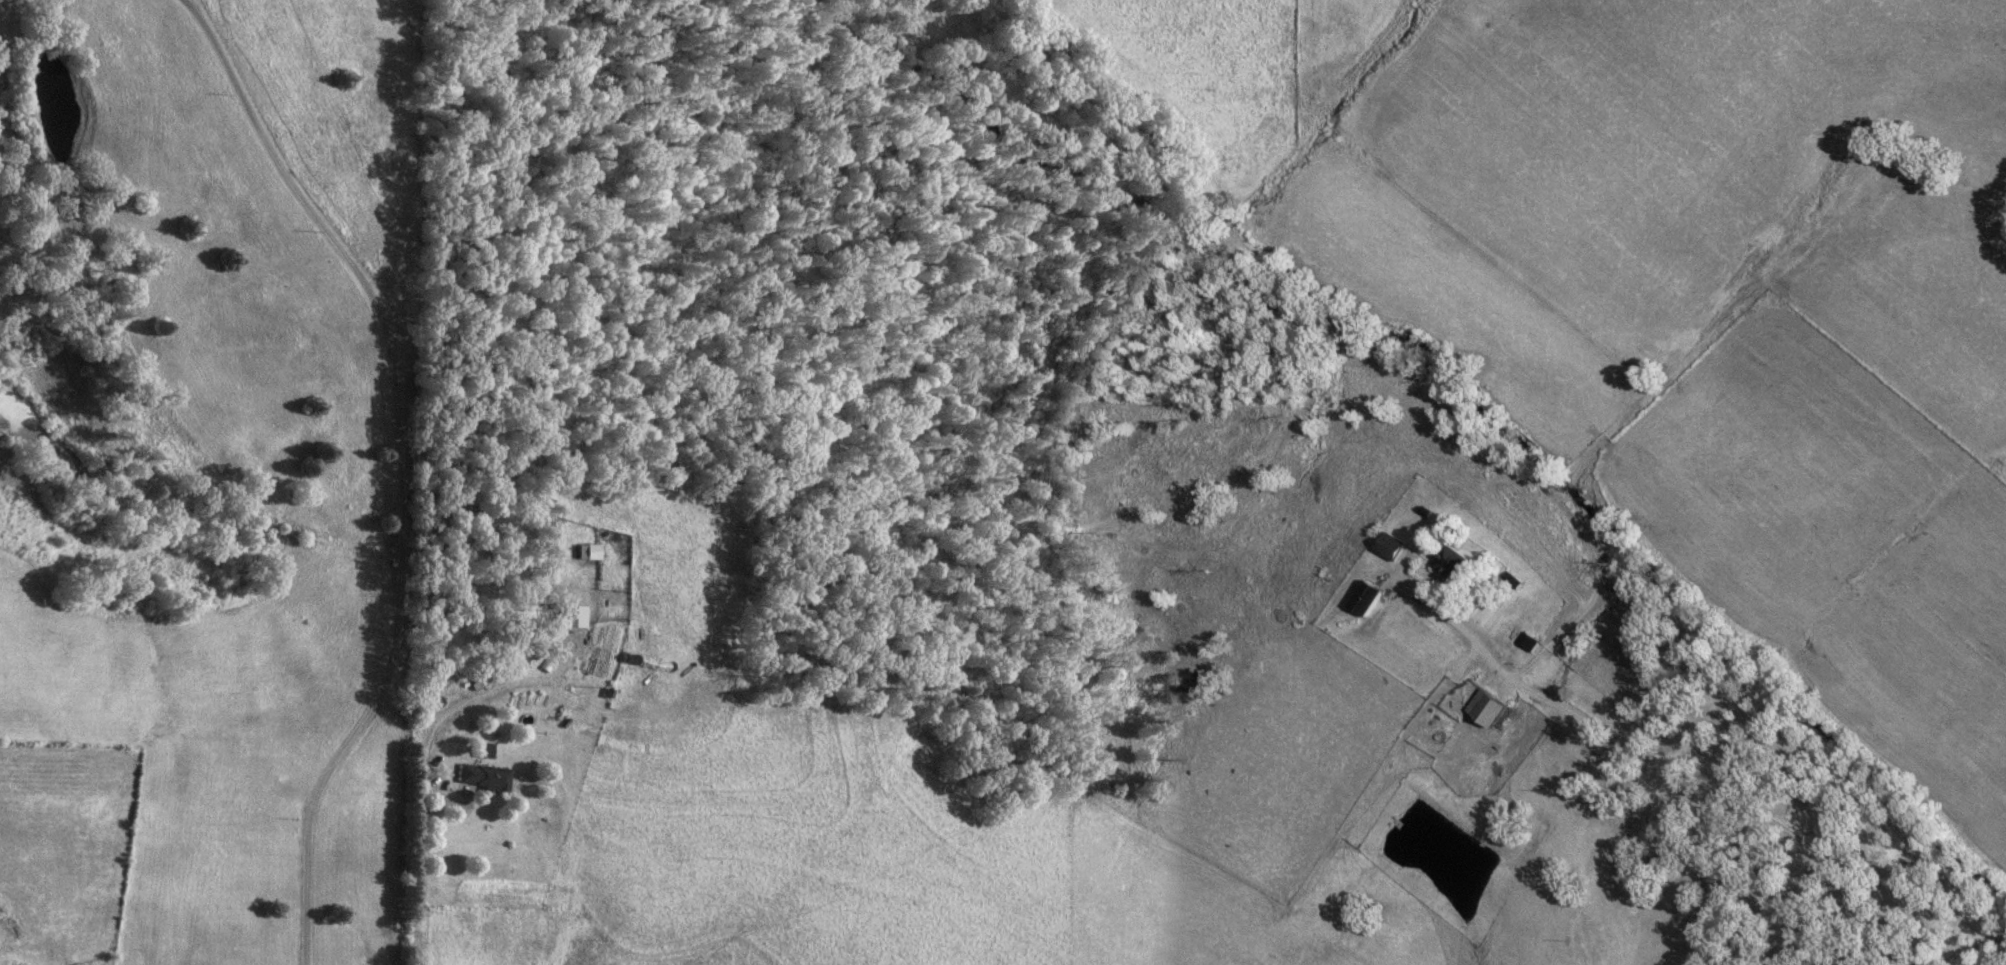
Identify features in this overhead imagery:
road: (400, 464)
building: (1392, 545)
building: (1449, 560)
building: (1366, 596)
building: (1484, 707)
road: (425, 760)
building: (482, 775)
road: (1678, 782)

